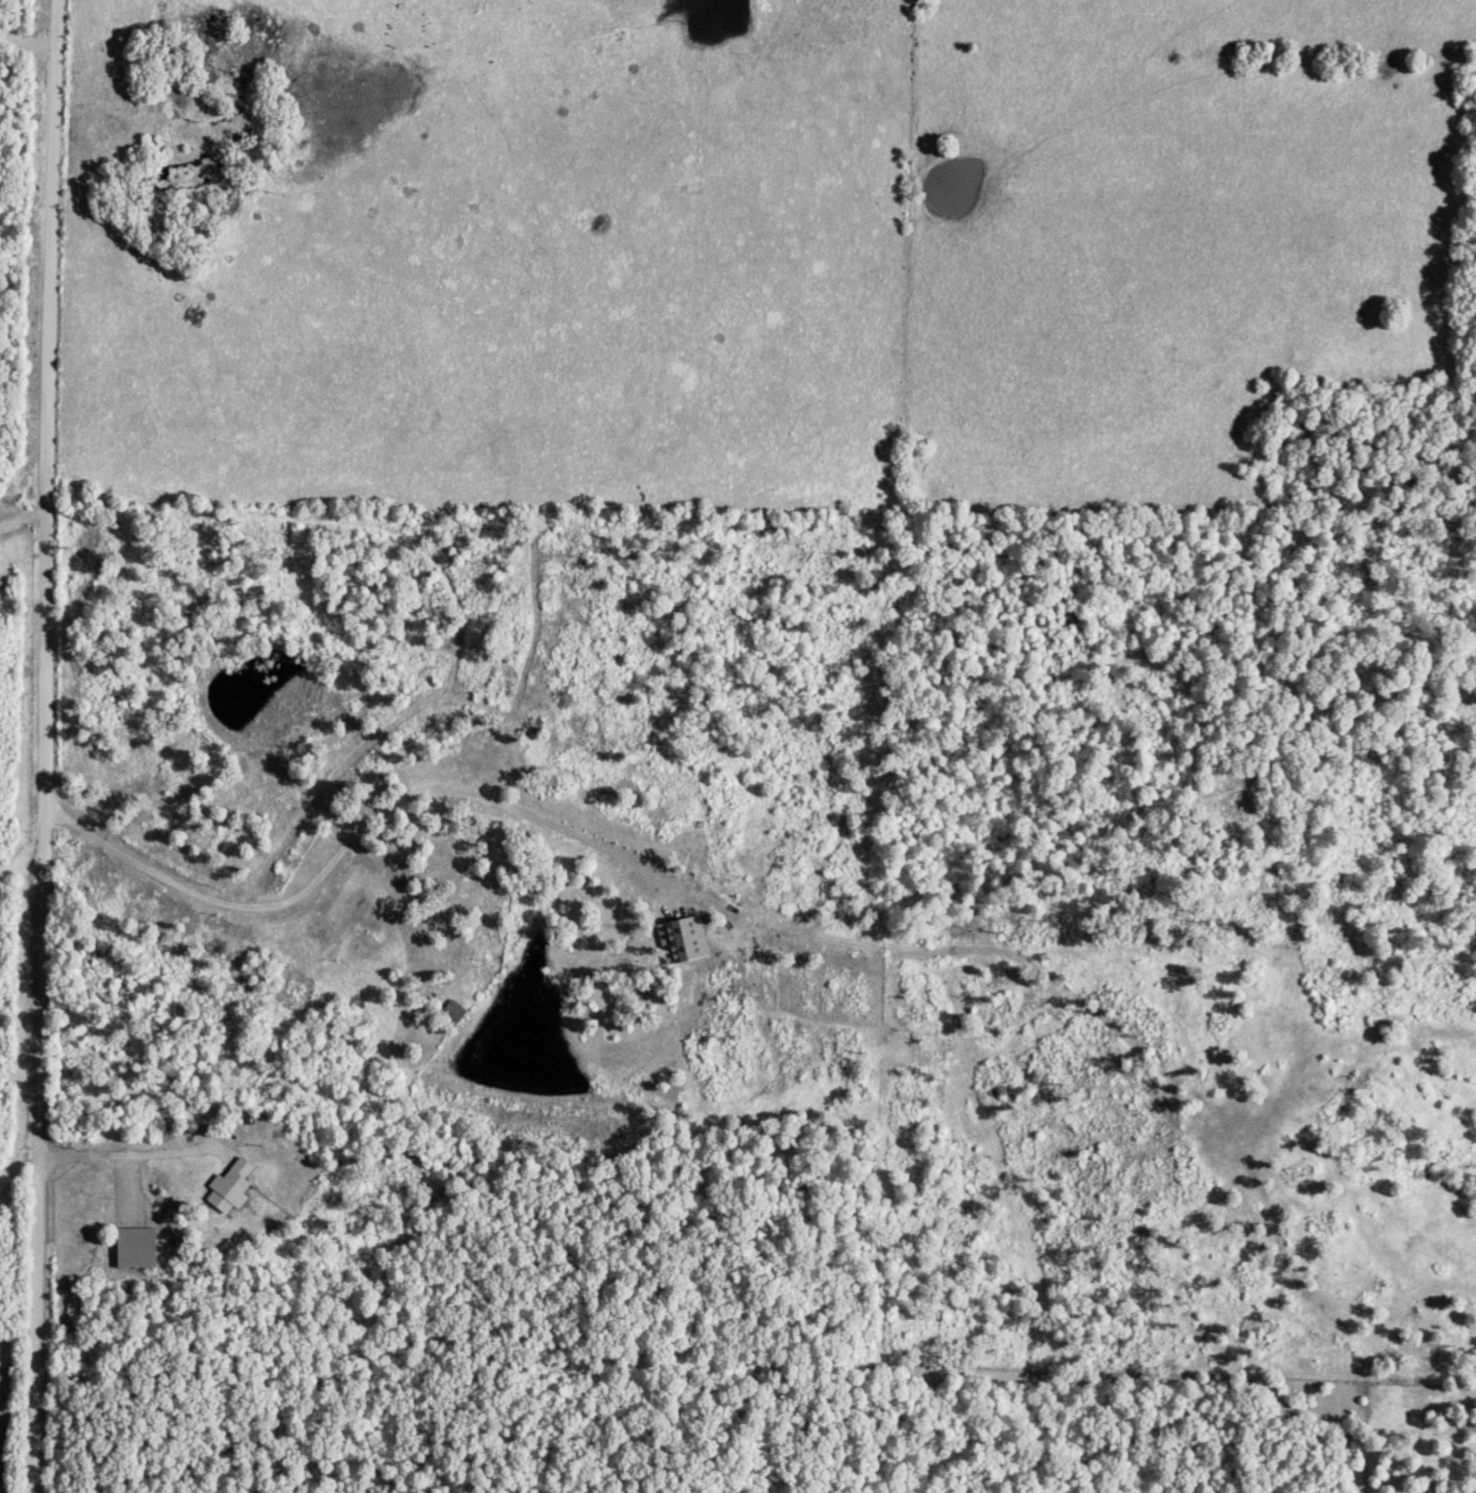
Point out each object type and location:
road: (23, 520)
road: (43, 746)
road: (344, 848)
road: (148, 1140)
building: (132, 1248)
road: (16, 1412)

